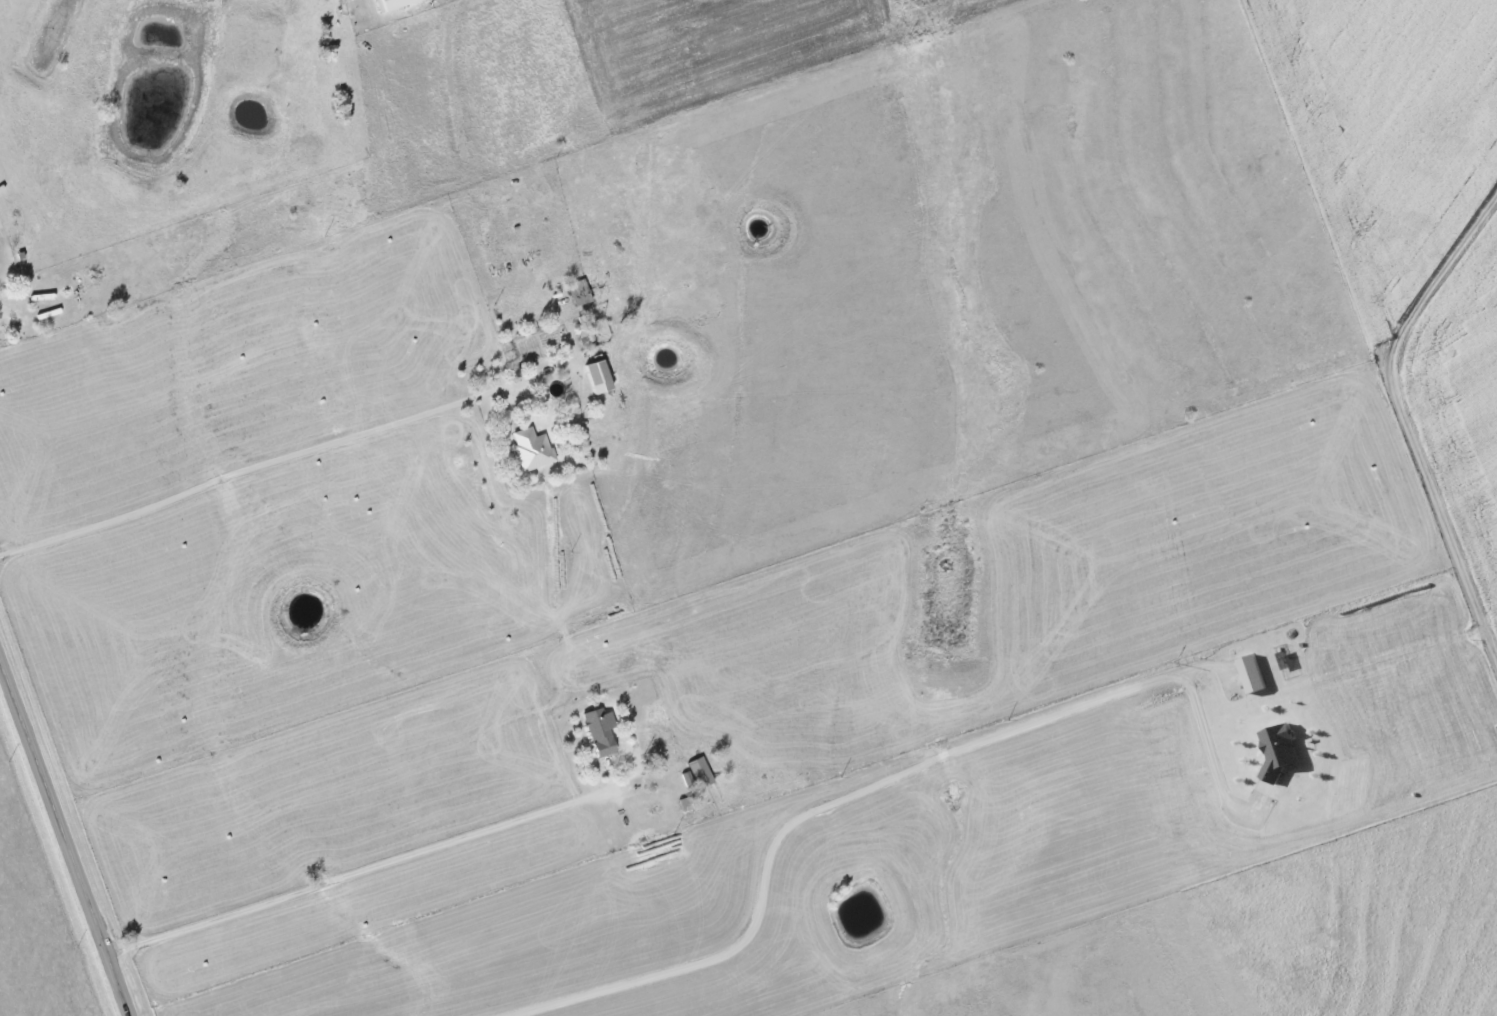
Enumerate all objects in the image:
building: (393, 3)
building: (599, 377)
road: (1417, 402)
road: (309, 445)
building: (532, 449)
building: (1253, 673)
building: (601, 730)
building: (1279, 751)
building: (700, 772)
road: (906, 784)
building: (685, 804)
road: (66, 834)
road: (381, 845)

